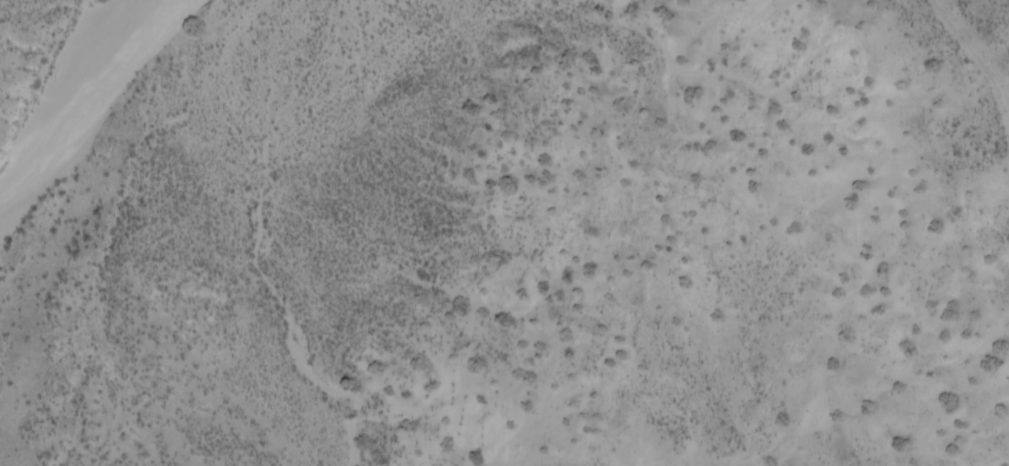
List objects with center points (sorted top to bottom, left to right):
river: (57, 154)
road: (642, 233)

